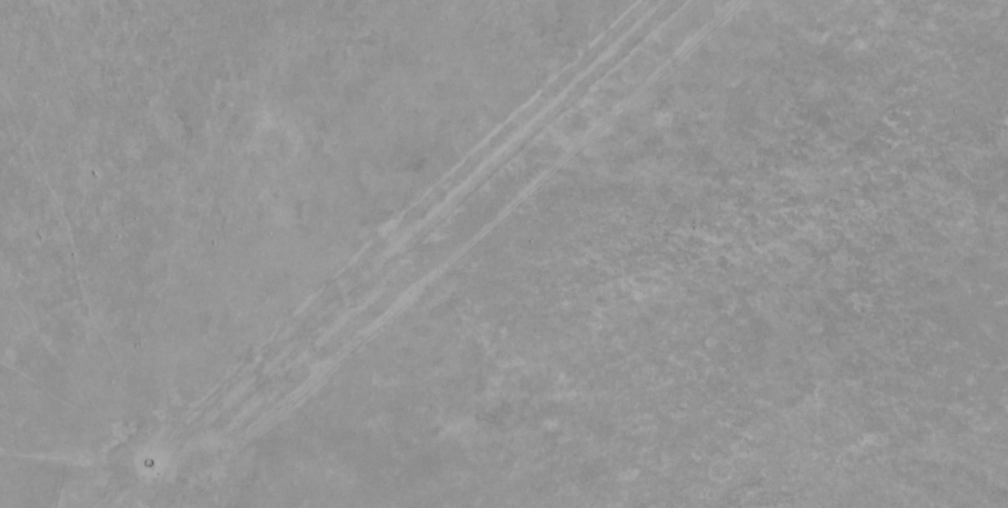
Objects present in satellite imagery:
road: (352, 254)

